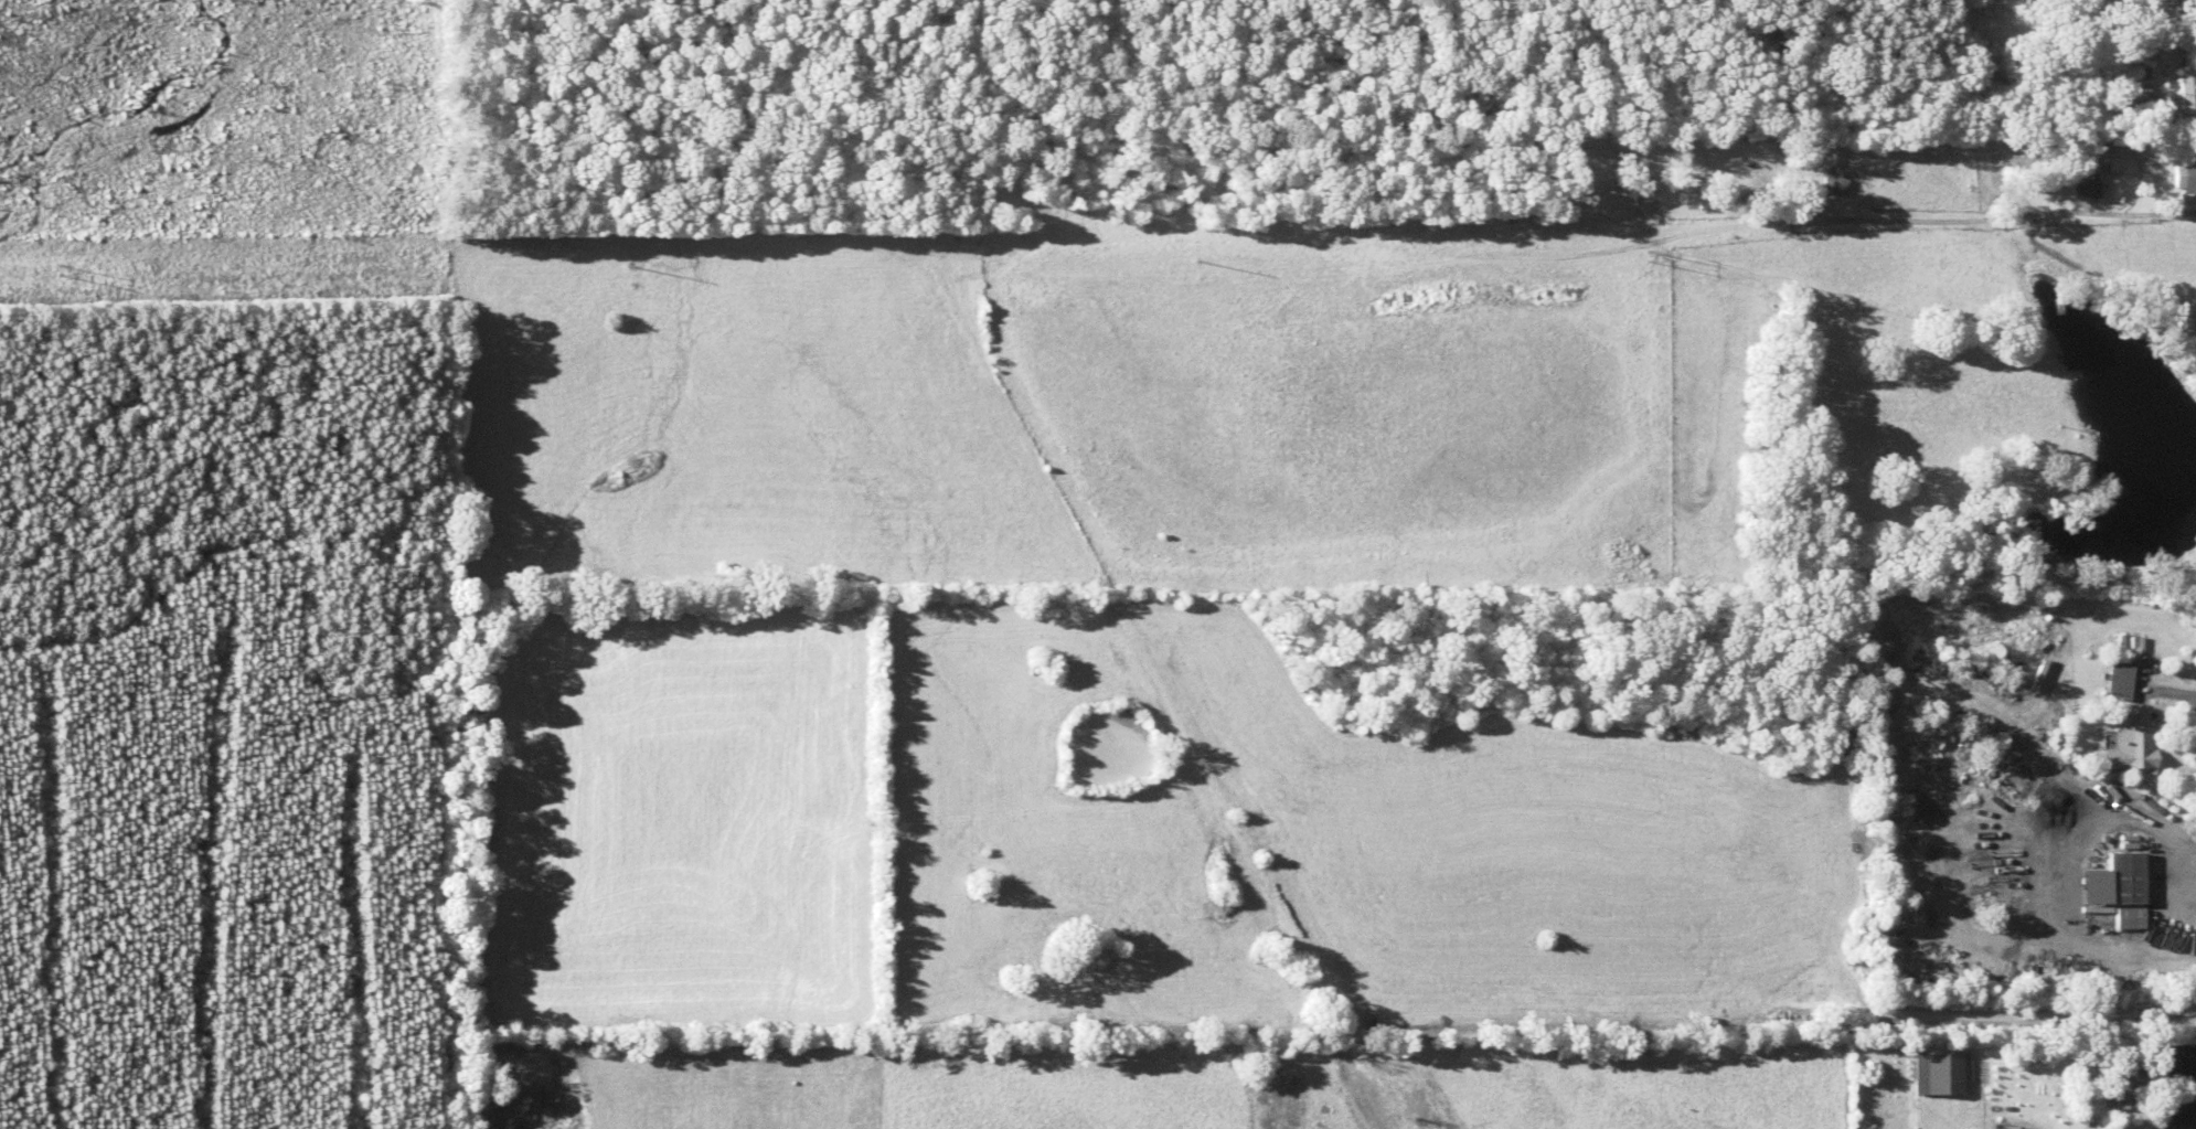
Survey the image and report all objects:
building: (2185, 88)
building: (2185, 174)
building: (2083, 184)
building: (1829, 187)
building: (2114, 677)
building: (2126, 741)
building: (2119, 877)
building: (2122, 918)
building: (1932, 1074)
building: (2124, 1087)

